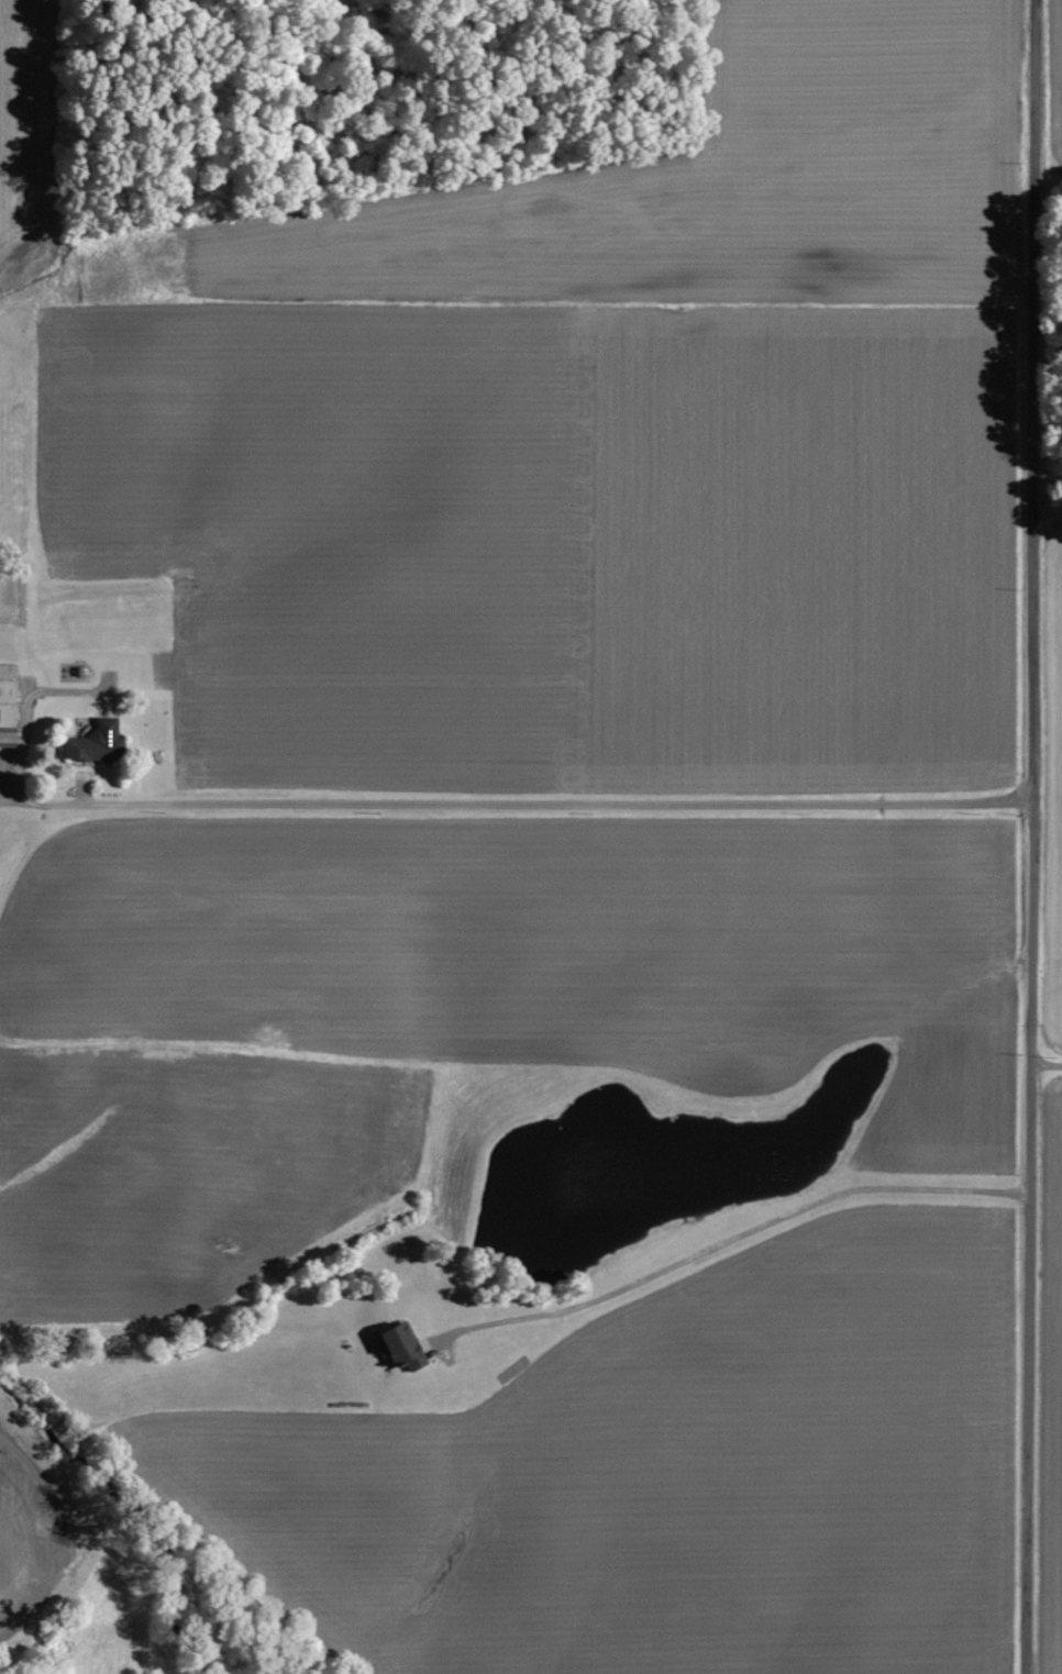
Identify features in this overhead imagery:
building: (3, 736)
building: (92, 741)
road: (531, 800)
road: (1030, 836)
road: (1044, 1064)
road: (726, 1242)
building: (397, 1345)

